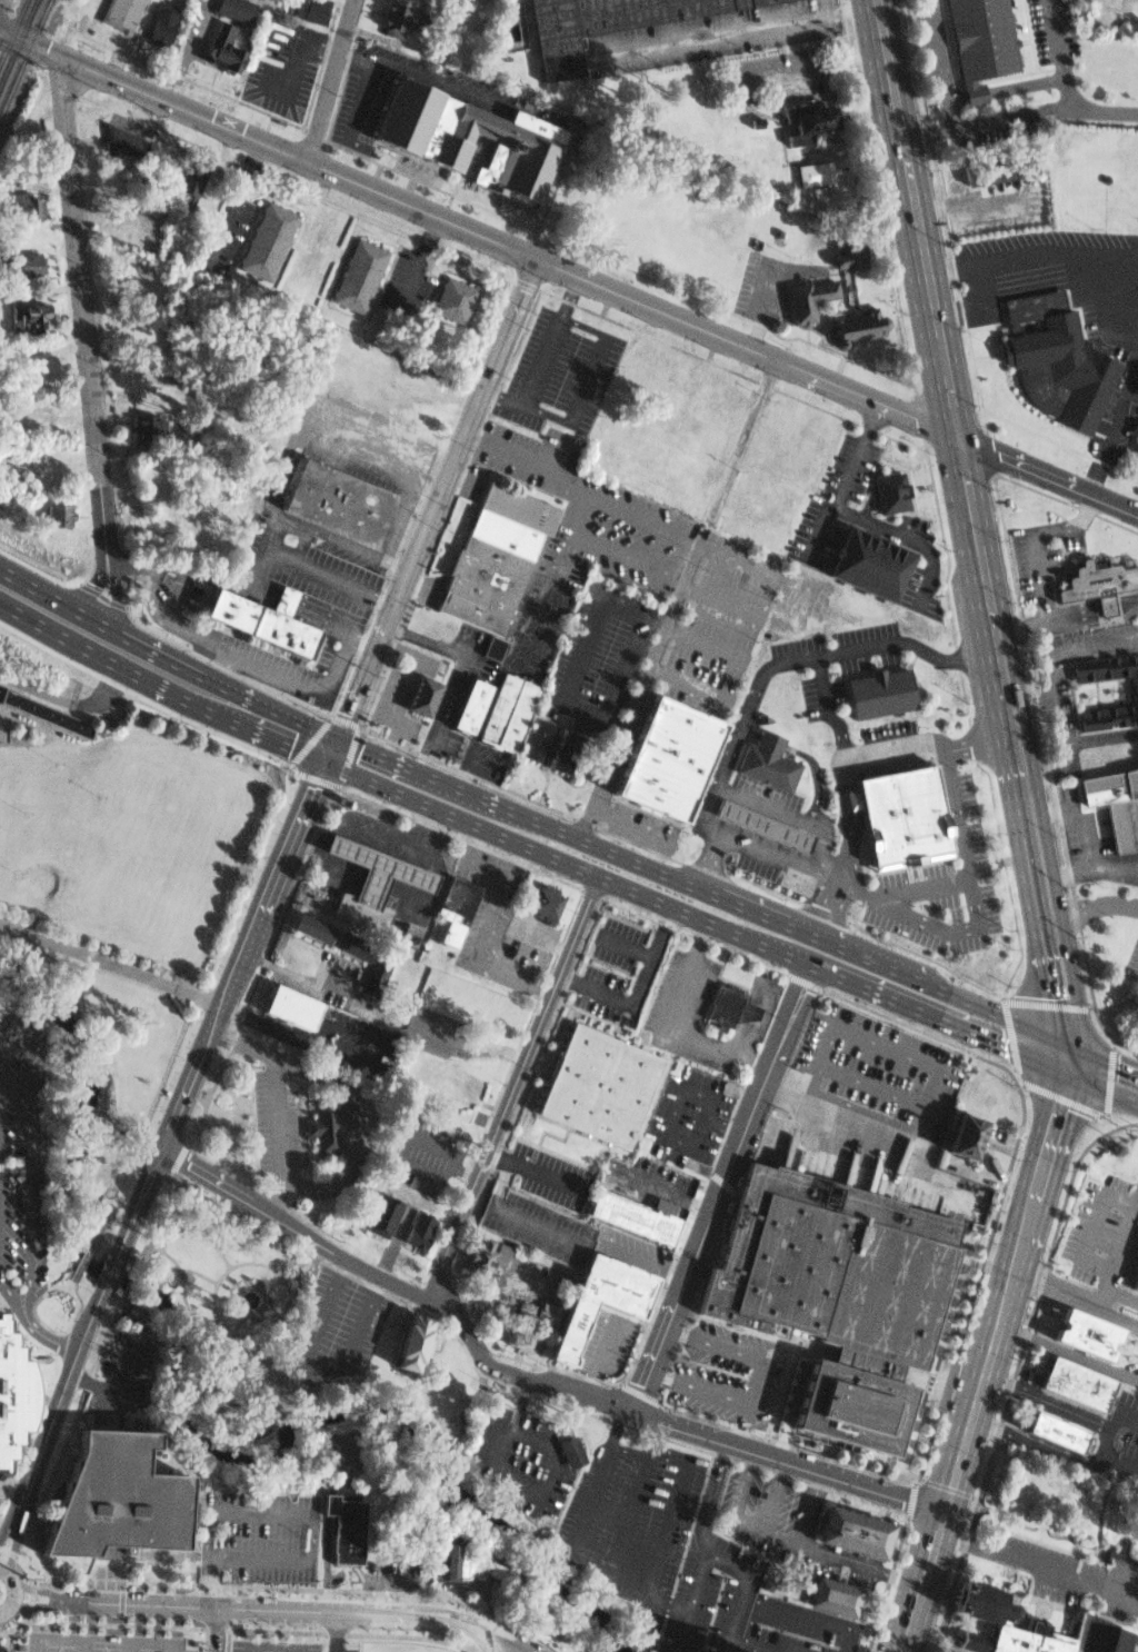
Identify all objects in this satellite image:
road: (845, 3)
building: (232, 9)
building: (305, 10)
building: (120, 11)
building: (396, 18)
building: (607, 24)
building: (157, 26)
railway: (13, 32)
road: (719, 36)
building: (977, 37)
railway: (18, 42)
road: (29, 43)
road: (359, 43)
building: (221, 49)
road: (1056, 53)
road: (393, 56)
railway: (26, 59)
road: (296, 59)
road: (939, 63)
road: (326, 79)
road: (1002, 88)
road: (1018, 115)
building: (807, 121)
building: (457, 127)
building: (121, 139)
road: (297, 157)
building: (992, 165)
road: (905, 169)
building: (816, 173)
building: (990, 175)
building: (191, 185)
road: (232, 202)
building: (26, 205)
building: (126, 223)
building: (267, 241)
road: (1030, 253)
road: (419, 258)
building: (27, 261)
building: (359, 275)
road: (81, 290)
building: (818, 290)
building: (450, 298)
road: (1121, 300)
building: (30, 314)
road: (667, 314)
road: (507, 326)
building: (1052, 360)
road: (541, 364)
road: (583, 378)
road: (946, 387)
road: (877, 401)
building: (39, 416)
road: (1115, 417)
building: (148, 429)
road: (742, 438)
road: (852, 455)
road: (1019, 464)
building: (886, 488)
road: (965, 489)
building: (333, 499)
road: (435, 500)
road: (1111, 501)
building: (57, 511)
road: (1066, 523)
road: (879, 527)
road: (106, 545)
building: (859, 556)
building: (495, 558)
road: (978, 558)
road: (773, 574)
building: (1092, 581)
road: (86, 589)
road: (116, 598)
road: (540, 605)
road: (642, 611)
road: (655, 616)
road: (1046, 617)
building: (261, 621)
road: (1017, 621)
road: (990, 627)
road: (398, 630)
road: (160, 636)
road: (705, 644)
road: (392, 647)
building: (495, 648)
road: (796, 654)
road: (166, 658)
road: (117, 666)
road: (363, 673)
road: (455, 674)
road: (690, 680)
building: (874, 689)
road: (373, 690)
road: (639, 690)
building: (415, 693)
building: (1132, 694)
road: (392, 695)
road: (63, 699)
building: (463, 704)
road: (818, 705)
road: (991, 708)
building: (501, 709)
building: (46, 711)
traffic signals: (347, 715)
road: (345, 721)
road: (24, 723)
road: (372, 733)
building: (545, 740)
road: (391, 742)
road: (281, 744)
road: (969, 744)
road: (870, 746)
traffic signals: (291, 748)
traffic signals: (362, 748)
road: (409, 748)
road: (331, 749)
road: (423, 754)
building: (665, 757)
building: (760, 759)
street lamp: (56, 763)
road: (443, 764)
road: (415, 770)
road: (466, 772)
road: (468, 774)
road: (545, 782)
traffic signals: (316, 787)
street lamp: (99, 796)
road: (525, 797)
building: (1109, 804)
building: (895, 808)
street lamp: (24, 813)
road: (630, 819)
building: (755, 822)
road: (430, 829)
road: (390, 836)
road: (311, 839)
road: (339, 844)
road: (269, 845)
road: (290, 845)
road: (478, 845)
road: (595, 845)
road: (332, 847)
road: (337, 852)
road: (706, 858)
road: (559, 859)
road: (1050, 862)
road: (518, 863)
road: (793, 863)
road: (1096, 868)
road: (341, 869)
building: (379, 870)
gas station: (379, 870)
street lamp: (14, 873)
road: (422, 879)
street lamp: (66, 880)
road: (375, 883)
road: (919, 884)
road: (1025, 888)
road: (407, 895)
building: (545, 900)
road: (1098, 900)
building: (458, 906)
building: (362, 913)
road: (488, 933)
road: (942, 933)
road: (810, 935)
road: (540, 937)
building: (338, 943)
road: (622, 944)
road: (729, 952)
road: (239, 966)
road: (110, 967)
building: (378, 975)
park: (96, 977)
road: (313, 985)
road: (630, 988)
road: (753, 998)
traffic signals: (1046, 998)
road: (1046, 1004)
building: (725, 1006)
building: (295, 1008)
road: (989, 1011)
road: (930, 1016)
road: (13, 1021)
road: (667, 1021)
road: (345, 1025)
road: (299, 1035)
road: (535, 1035)
road: (1010, 1037)
road: (1069, 1044)
road: (470, 1047)
traffic signals: (1006, 1047)
road: (1061, 1055)
road: (110, 1061)
road: (1111, 1061)
road: (1078, 1062)
traffic signals: (1119, 1065)
road: (938, 1069)
road: (192, 1076)
road: (789, 1078)
building: (595, 1082)
building: (452, 1086)
road: (1109, 1086)
road: (1104, 1088)
road: (711, 1097)
road: (1067, 1101)
road: (278, 1104)
road: (862, 1109)
traffic signals: (1059, 1111)
road: (363, 1123)
building: (329, 1124)
road: (748, 1124)
road: (353, 1127)
road: (723, 1127)
road: (345, 1129)
building: (967, 1133)
road: (1050, 1136)
road: (452, 1152)
road: (531, 1170)
road: (26, 1171)
road: (462, 1172)
road: (671, 1195)
road: (140, 1198)
road: (1136, 1204)
building: (381, 1212)
building: (627, 1212)
building: (422, 1230)
road: (567, 1234)
road: (446, 1245)
road: (160, 1250)
road: (86, 1252)
road: (1075, 1254)
building: (487, 1257)
road: (1016, 1261)
road: (110, 1270)
road: (274, 1273)
building: (1132, 1273)
road: (231, 1283)
road: (119, 1284)
road: (503, 1285)
road: (251, 1286)
road: (270, 1286)
road: (1100, 1288)
building: (831, 1291)
road: (1119, 1294)
road: (8, 1296)
building: (600, 1300)
fountain: (250, 1301)
road: (1075, 1302)
road: (213, 1311)
road: (238, 1323)
building: (530, 1323)
road: (48, 1326)
building: (1074, 1328)
road: (41, 1337)
building: (412, 1345)
road: (658, 1347)
road: (1068, 1352)
road: (599, 1360)
road: (633, 1365)
road: (1009, 1367)
road: (315, 1376)
building: (1061, 1379)
road: (525, 1380)
road: (755, 1384)
road: (510, 1389)
road: (641, 1394)
road: (322, 1395)
building: (13, 1396)
road: (116, 1396)
road: (1045, 1402)
road: (519, 1404)
road: (58, 1405)
park: (391, 1413)
road: (971, 1416)
river: (188, 1417)
road: (741, 1425)
building: (1045, 1425)
road: (786, 1443)
road: (1098, 1444)
road: (56, 1445)
road: (493, 1452)
building: (566, 1452)
road: (345, 1466)
building: (103, 1492)
road: (708, 1500)
road: (330, 1503)
road: (308, 1515)
road: (628, 1519)
road: (747, 1520)
building: (345, 1529)
building: (856, 1529)
road: (8, 1532)
road: (779, 1533)
road: (11, 1550)
road: (823, 1552)
road: (328, 1561)
building: (471, 1562)
road: (1038, 1569)
road: (741, 1570)
road: (3, 1574)
road: (393, 1578)
road: (9, 1581)
road: (206, 1581)
road: (924, 1581)
road: (653, 1583)
road: (29, 1591)
road: (279, 1591)
road: (36, 1592)
road: (10, 1599)
building: (836, 1600)
road: (671, 1602)
building: (978, 1602)
road: (34, 1604)
road: (276, 1609)
road: (646, 1611)
road: (805, 1619)
road: (518, 1623)
road: (122, 1626)
road: (212, 1629)
road: (335, 1631)
road: (686, 1631)
road: (332, 1633)
building: (1099, 1636)
road: (4, 1641)
road: (516, 1641)
road: (100, 1642)
road: (502, 1642)
building: (1010, 1642)
road: (485, 1643)
road: (537, 1643)
road: (273, 1645)
road: (80, 1646)
road: (124, 1648)
road: (729, 1651)

